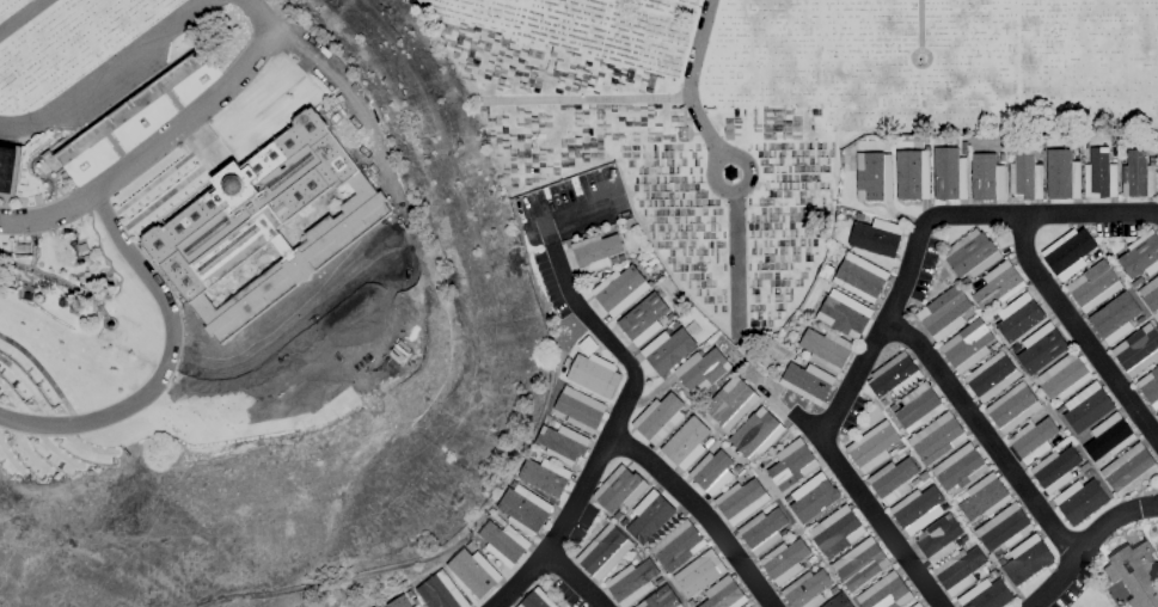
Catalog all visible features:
road: (23, 17)
road: (919, 25)
road: (108, 69)
road: (691, 82)
road: (349, 96)
road: (586, 99)
road: (151, 147)
building: (964, 147)
building: (1115, 152)
building: (1041, 153)
building: (1003, 158)
building: (7, 167)
building: (950, 173)
building: (65, 174)
building: (913, 174)
building: (1027, 174)
building: (1064, 174)
building: (1101, 174)
building: (1139, 174)
building: (875, 176)
building: (987, 177)
building: (1157, 178)
park: (429, 188)
road: (735, 189)
road: (1044, 213)
building: (863, 216)
building: (265, 222)
building: (877, 237)
building: (81, 246)
building: (23, 247)
building: (596, 252)
building: (972, 253)
building: (1073, 255)
building: (1141, 255)
building: (621, 257)
road: (736, 264)
building: (860, 276)
building: (966, 280)
building: (11, 281)
building: (1136, 281)
building: (999, 284)
building: (1095, 286)
building: (620, 289)
building: (970, 289)
building: (1150, 294)
building: (845, 313)
building: (945, 313)
building: (1022, 314)
building: (670, 315)
building: (1116, 317)
building: (644, 318)
building: (1142, 319)
building: (814, 324)
building: (675, 325)
road: (880, 330)
road: (1078, 331)
building: (968, 345)
building: (587, 347)
building: (1016, 347)
building: (670, 348)
building: (827, 348)
building: (1042, 348)
building: (1138, 349)
building: (797, 358)
road: (166, 361)
building: (565, 364)
building: (703, 369)
building: (562, 370)
building: (593, 375)
building: (895, 375)
building: (992, 376)
building: (1064, 376)
building: (808, 381)
building: (1150, 386)
building: (884, 401)
building: (731, 403)
building: (893, 406)
building: (918, 406)
building: (1013, 407)
building: (580, 409)
building: (1085, 409)
building: (686, 410)
building: (1157, 415)
road: (615, 418)
building: (660, 418)
road: (985, 433)
building: (758, 434)
building: (1109, 436)
building: (938, 437)
building: (1060, 437)
building: (1034, 439)
building: (562, 442)
building: (709, 442)
building: (687, 443)
building: (874, 447)
building: (792, 464)
building: (961, 466)
building: (737, 467)
building: (1129, 468)
building: (1056, 470)
building: (1077, 471)
building: (712, 472)
building: (545, 476)
building: (925, 476)
building: (1085, 476)
building: (894, 479)
building: (915, 482)
building: (620, 489)
building: (813, 497)
building: (984, 497)
building: (1080, 499)
building: (742, 501)
building: (945, 507)
building: (917, 508)
building: (523, 509)
road: (701, 509)
road: (872, 510)
building: (618, 515)
building: (650, 516)
building: (498, 520)
building: (624, 522)
building: (1005, 527)
building: (764, 531)
building: (837, 531)
building: (941, 538)
building: (503, 542)
road: (1086, 544)
building: (679, 545)
building: (605, 551)
building: (993, 557)
building: (1028, 559)
building: (785, 560)
building: (862, 564)
building: (960, 570)
building: (699, 572)
building: (1135, 572)
building: (471, 574)
building: (981, 574)
road: (574, 578)
building: (660, 580)
building: (632, 582)
building: (808, 589)
building: (834, 589)
building: (441, 591)
building: (409, 593)
building: (886, 593)
building: (724, 594)
building: (987, 594)
building: (699, 597)
building: (662, 599)
building: (538, 600)
building: (840, 601)
building: (398, 602)
building: (416, 602)
building: (917, 605)
building: (375, 606)
building: (748, 606)

